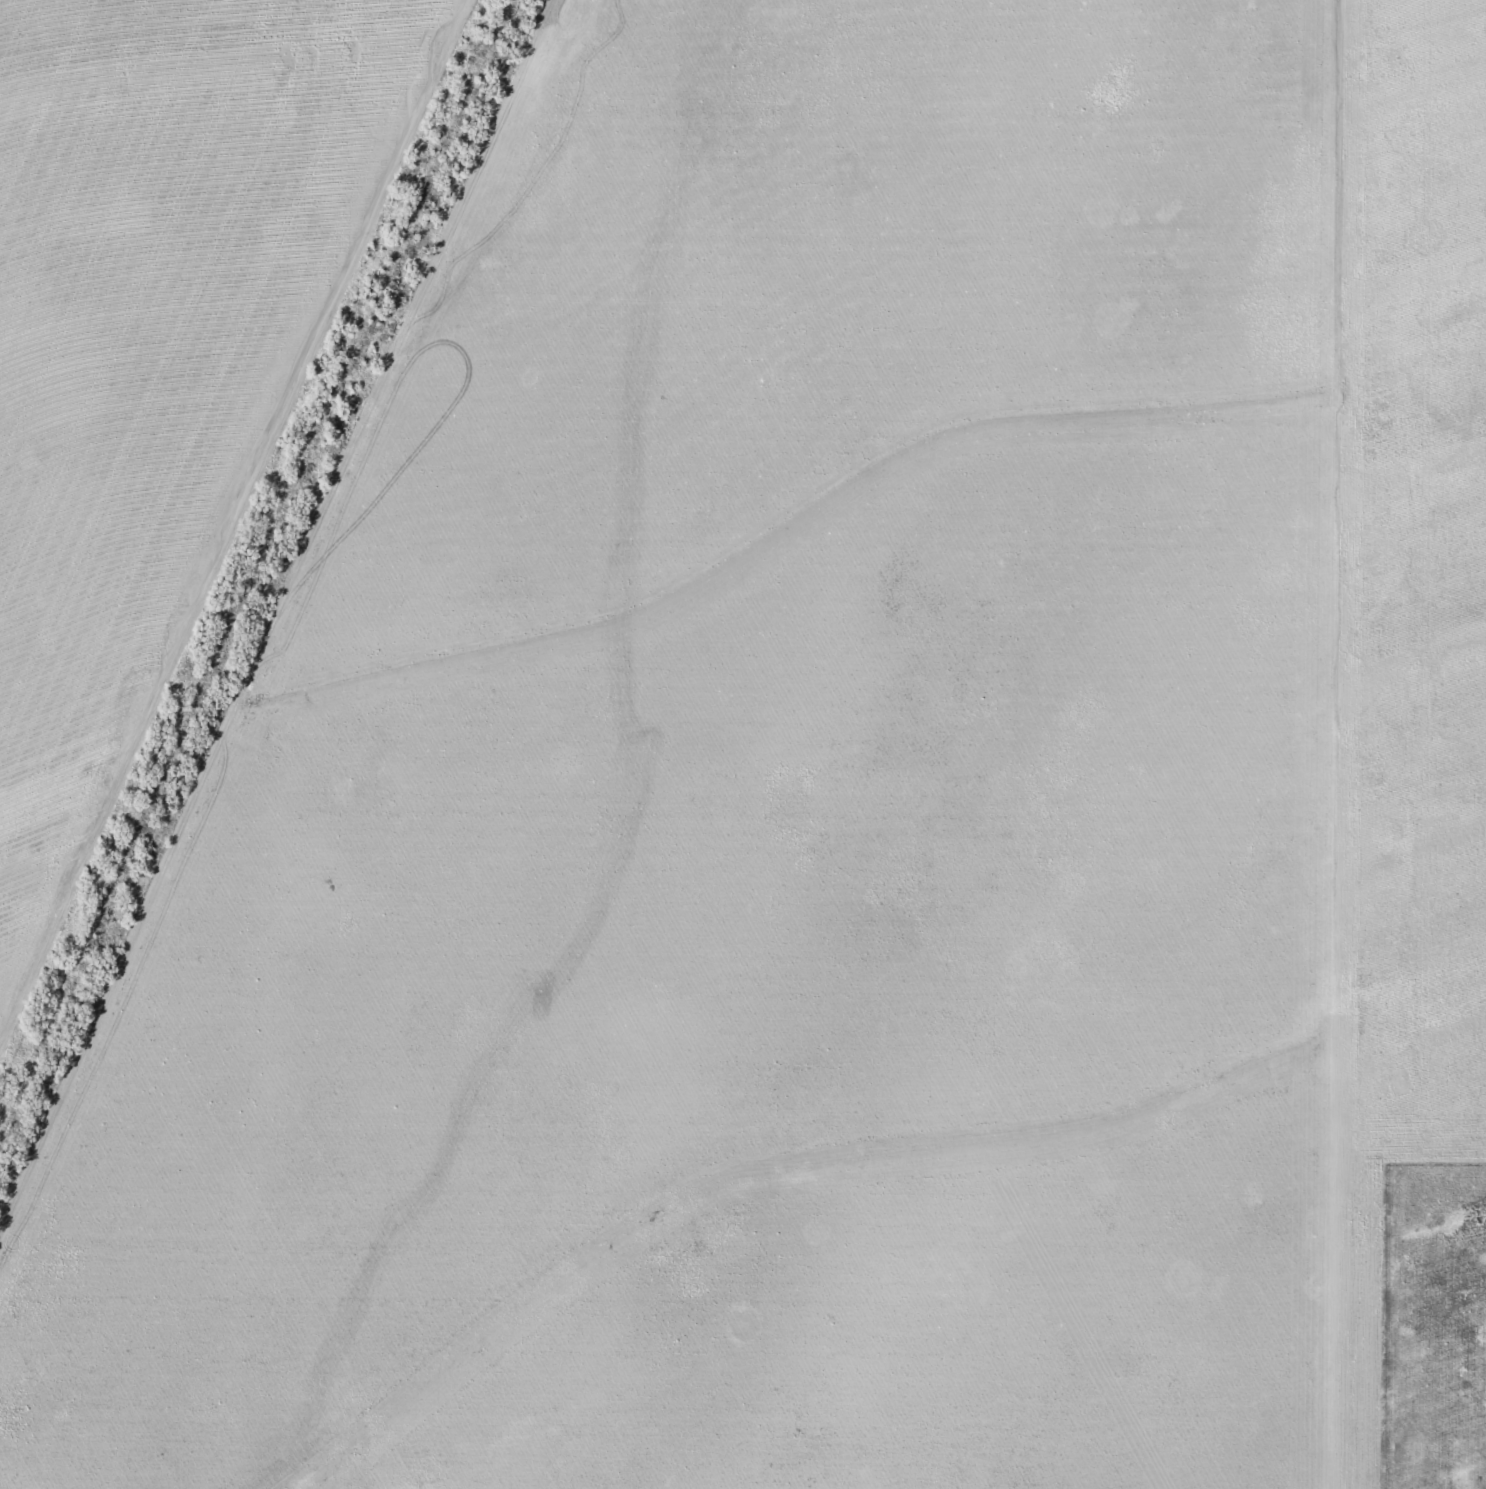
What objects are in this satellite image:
railway: (254, 567)

